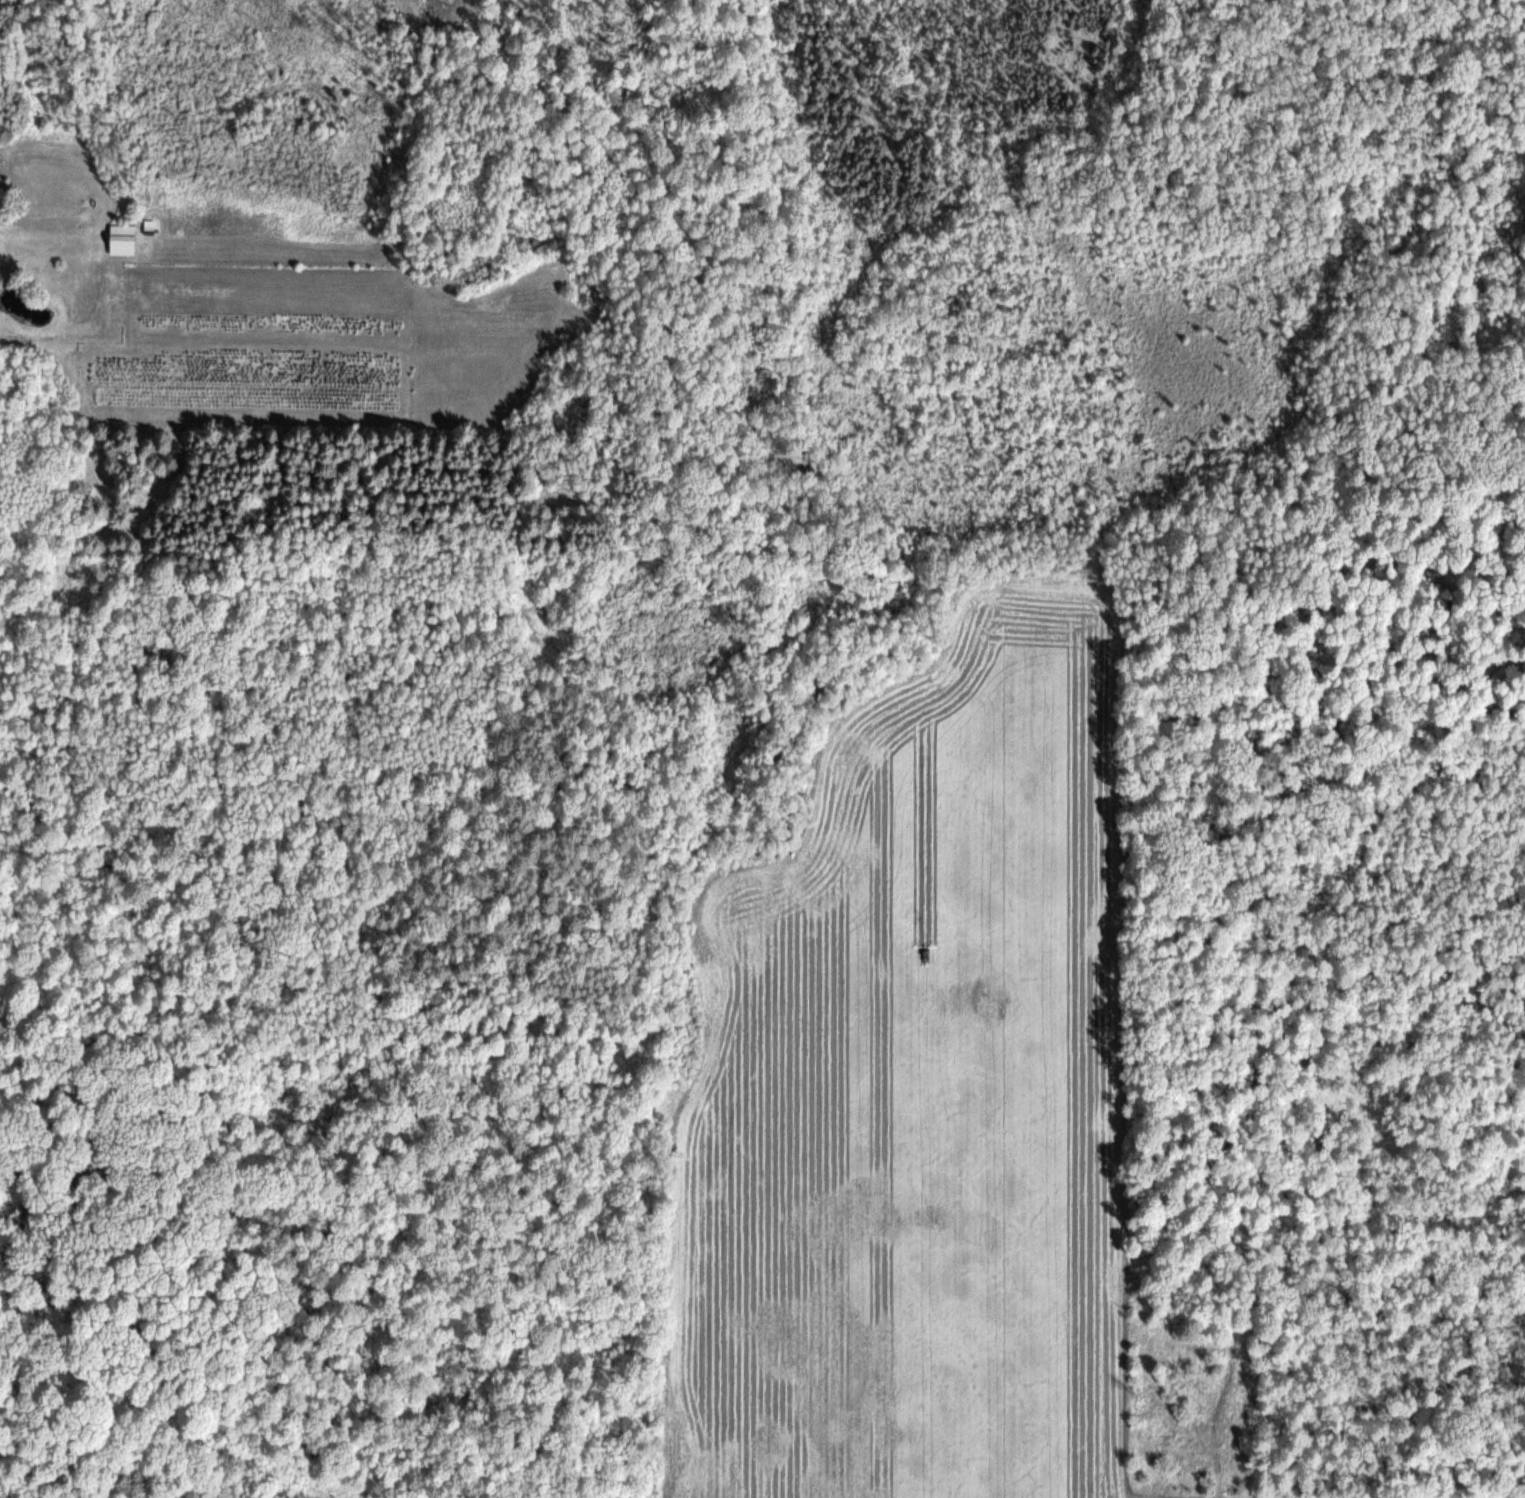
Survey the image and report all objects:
building: (121, 239)

